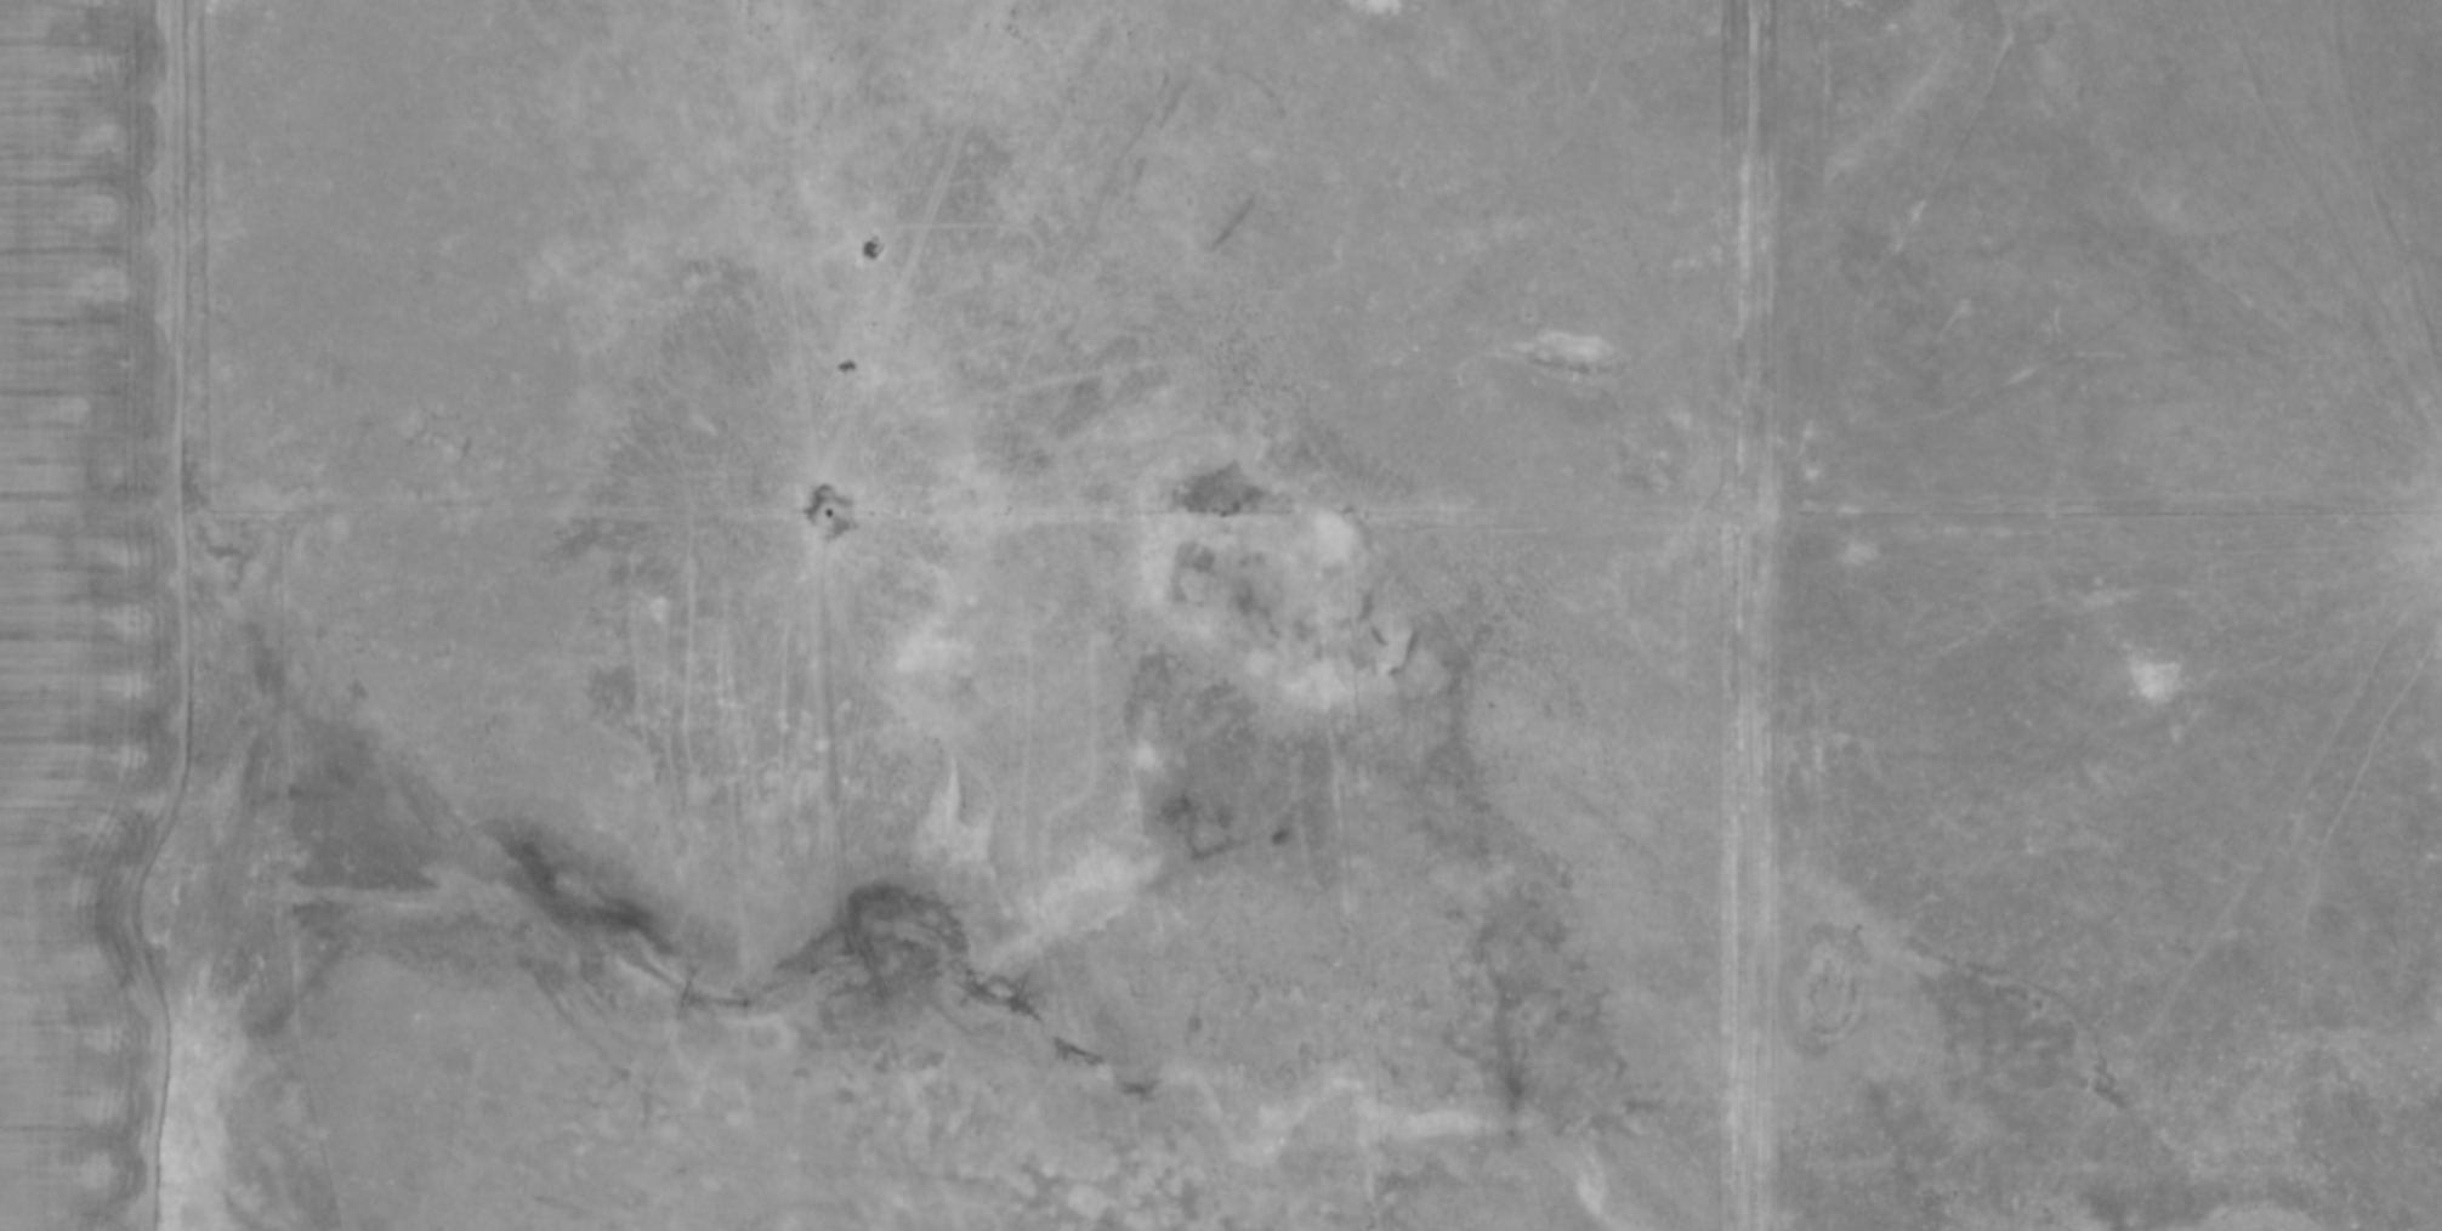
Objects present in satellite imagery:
road: (1743, 614)

